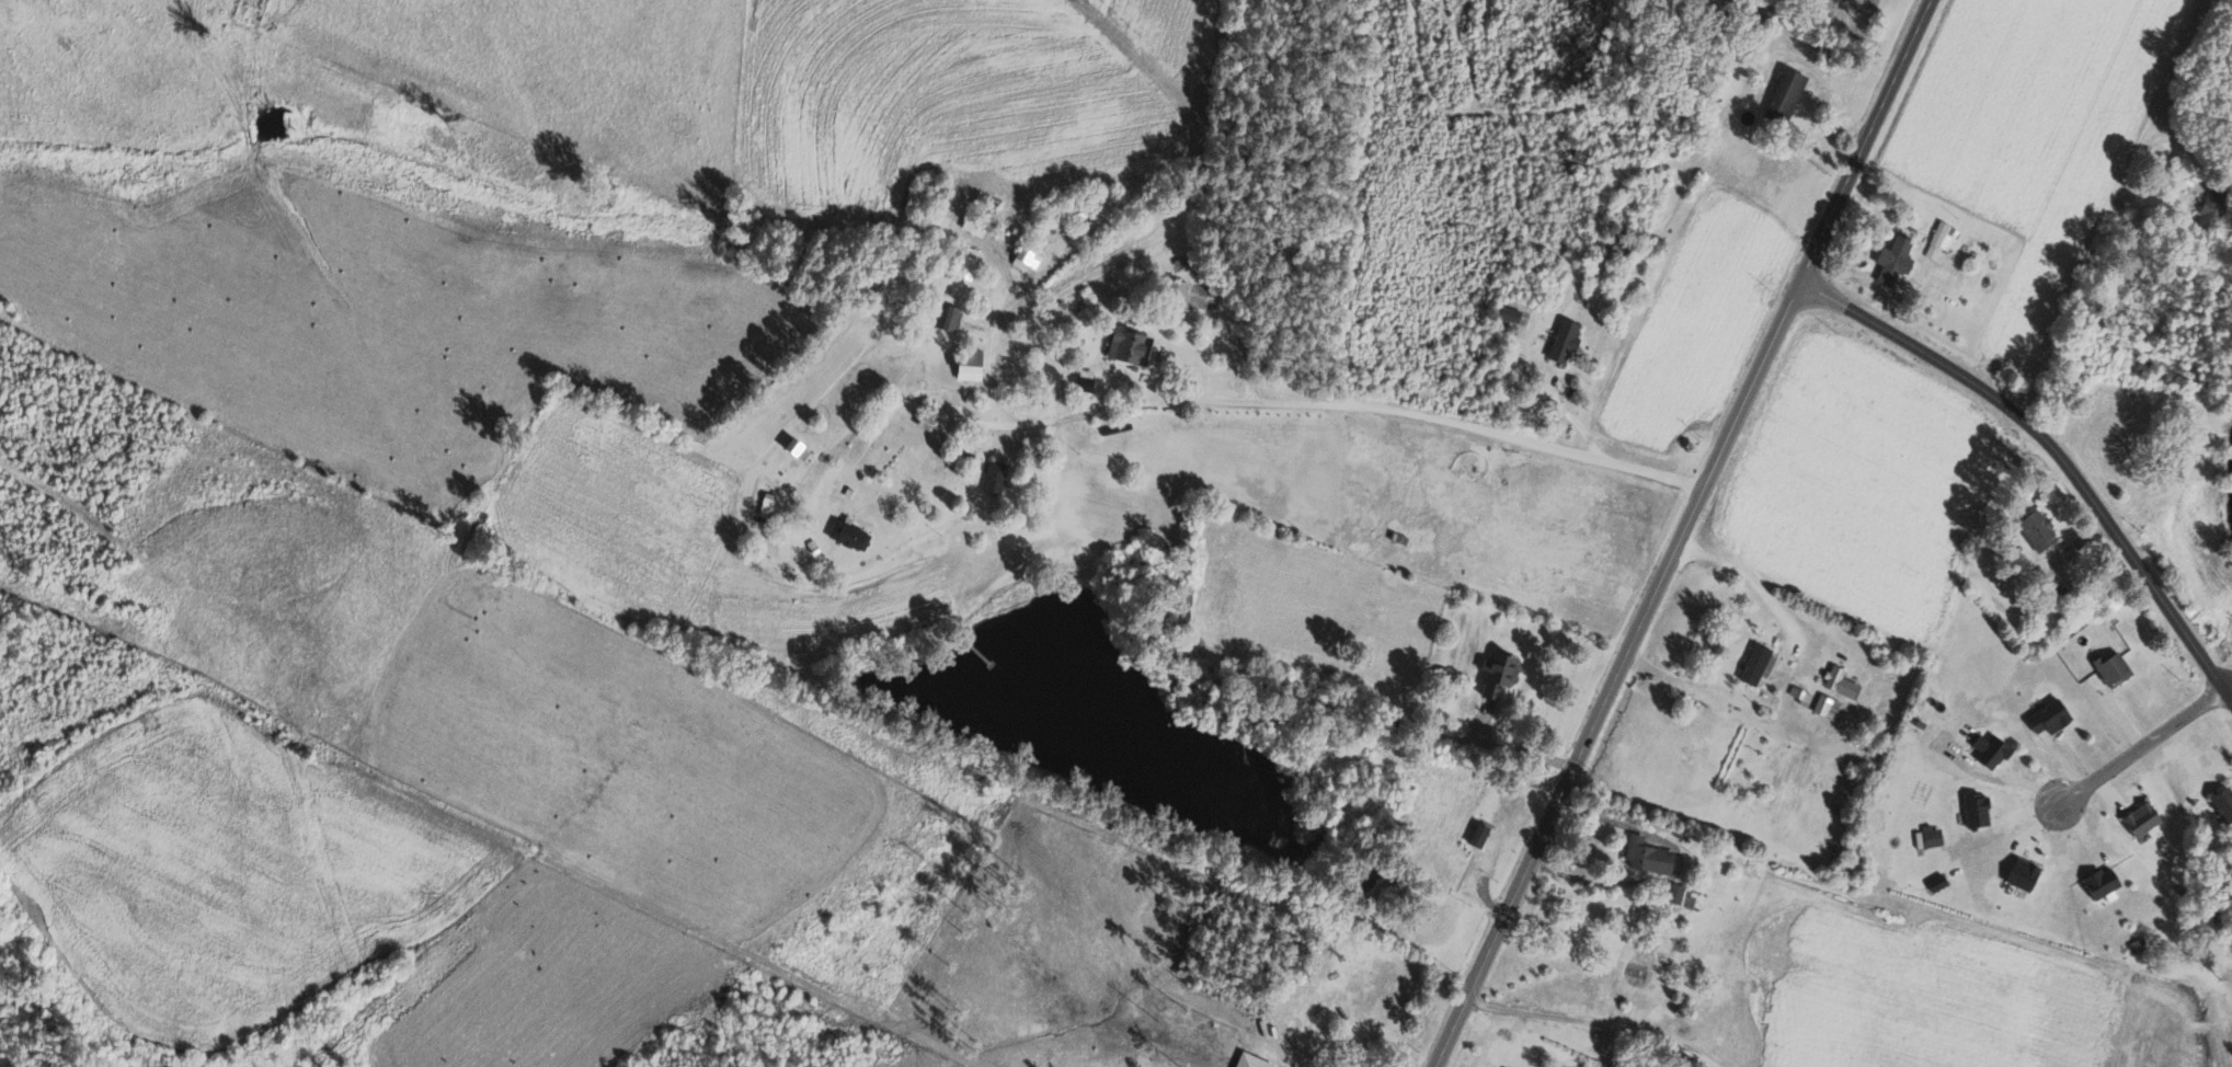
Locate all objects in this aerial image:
building: (1783, 96)
building: (2210, 211)
building: (1938, 241)
building: (1022, 260)
building: (1891, 260)
road: (2081, 263)
building: (966, 264)
building: (1175, 296)
building: (1509, 314)
building: (945, 317)
building: (1561, 341)
building: (1125, 347)
building: (965, 366)
road: (909, 394)
road: (1293, 404)
building: (793, 448)
road: (2053, 452)
building: (993, 475)
building: (764, 504)
building: (2035, 529)
road: (1682, 533)
building: (847, 535)
road: (1749, 582)
building: (2054, 588)
road: (2221, 662)
building: (1755, 663)
building: (2110, 668)
building: (1495, 672)
building: (1838, 681)
building: (1798, 695)
building: (1824, 707)
building: (2046, 716)
road: (2142, 746)
road: (1513, 749)
building: (1988, 750)
building: (2221, 802)
building: (1971, 808)
building: (2139, 818)
building: (1475, 834)
building: (1925, 837)
building: (1644, 856)
road: (1676, 872)
building: (2019, 873)
building: (2097, 882)
building: (1678, 893)
building: (1635, 973)
road: (1596, 1021)

